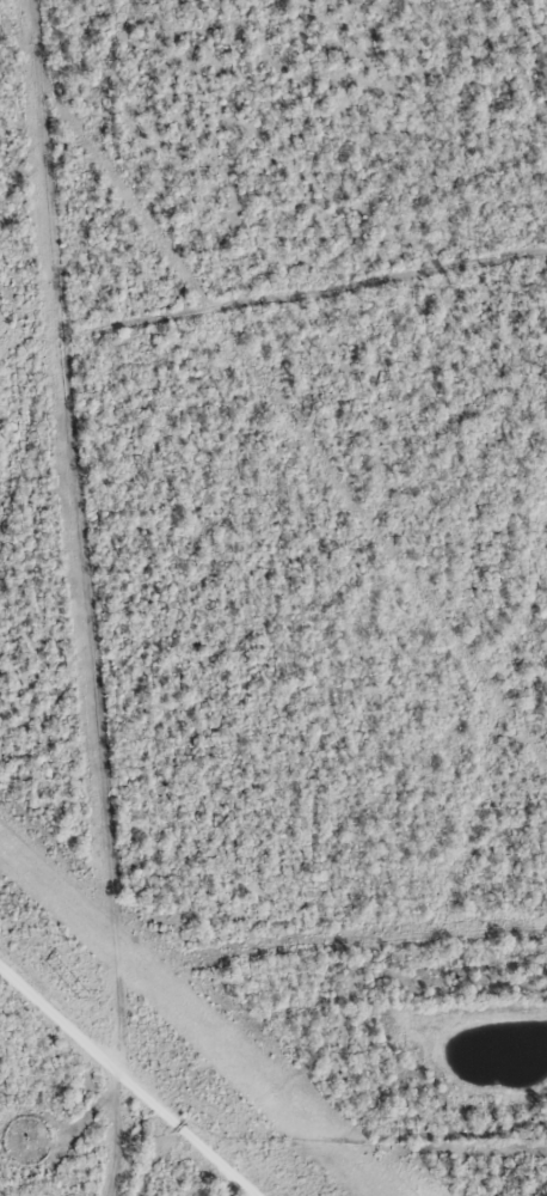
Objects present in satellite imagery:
power tower: (84, 991)

